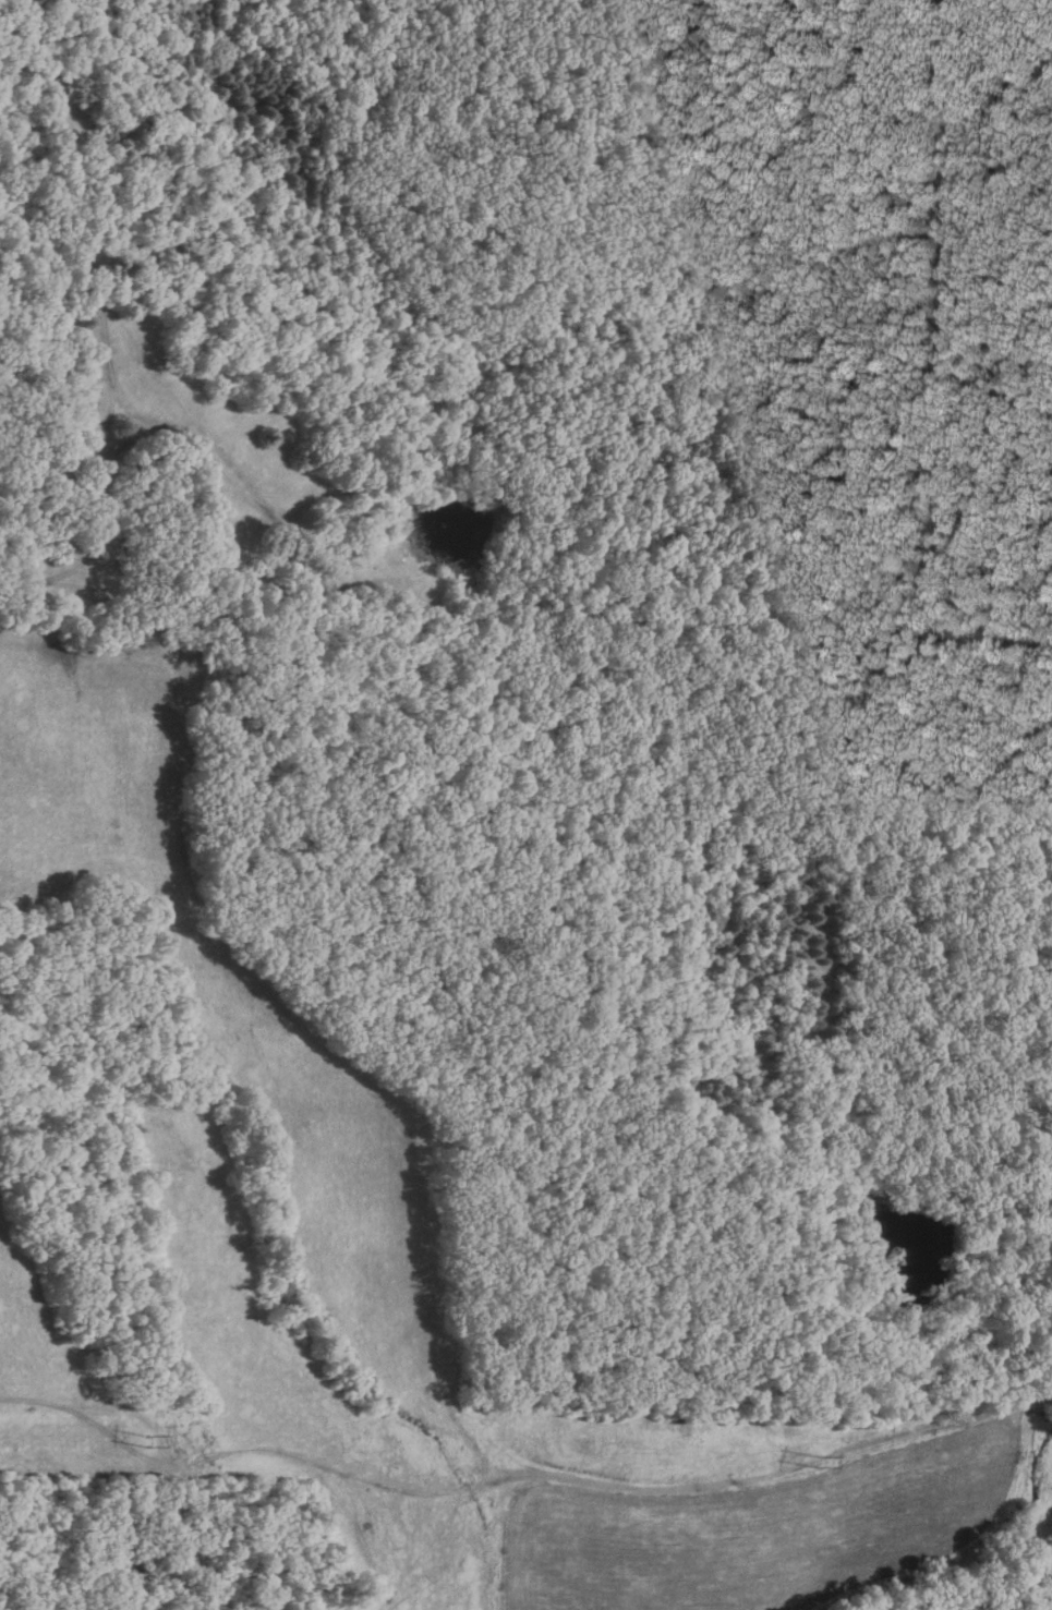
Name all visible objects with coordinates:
power tower: (143, 1440)
power tower: (785, 1462)

